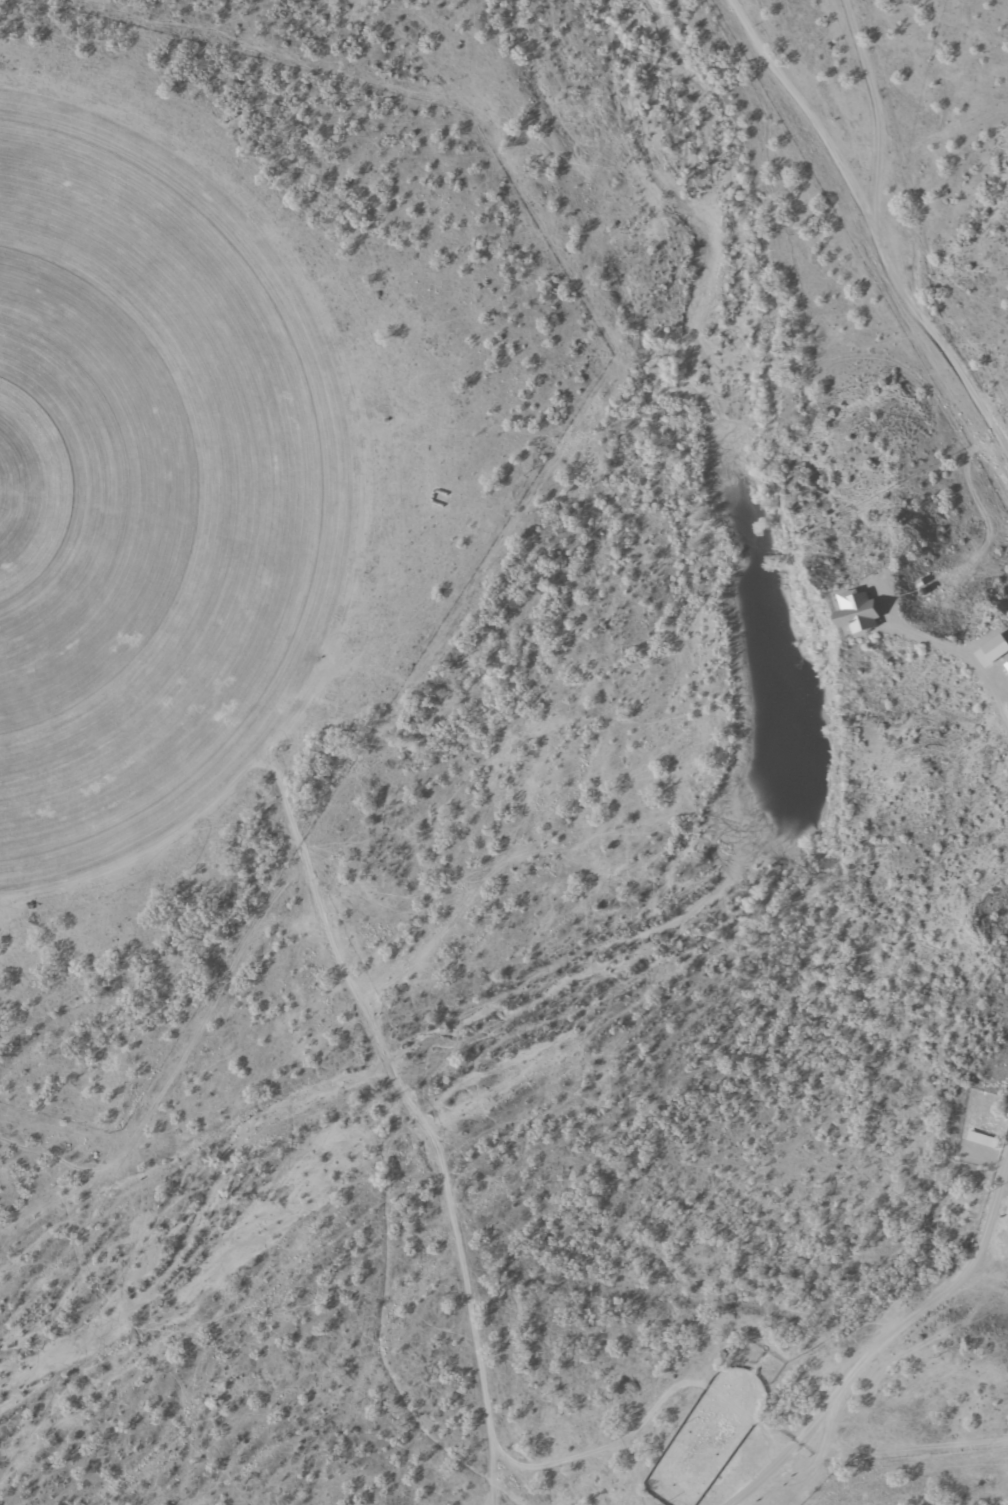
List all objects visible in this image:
road: (893, 238)
road: (972, 1158)
road: (839, 1378)

